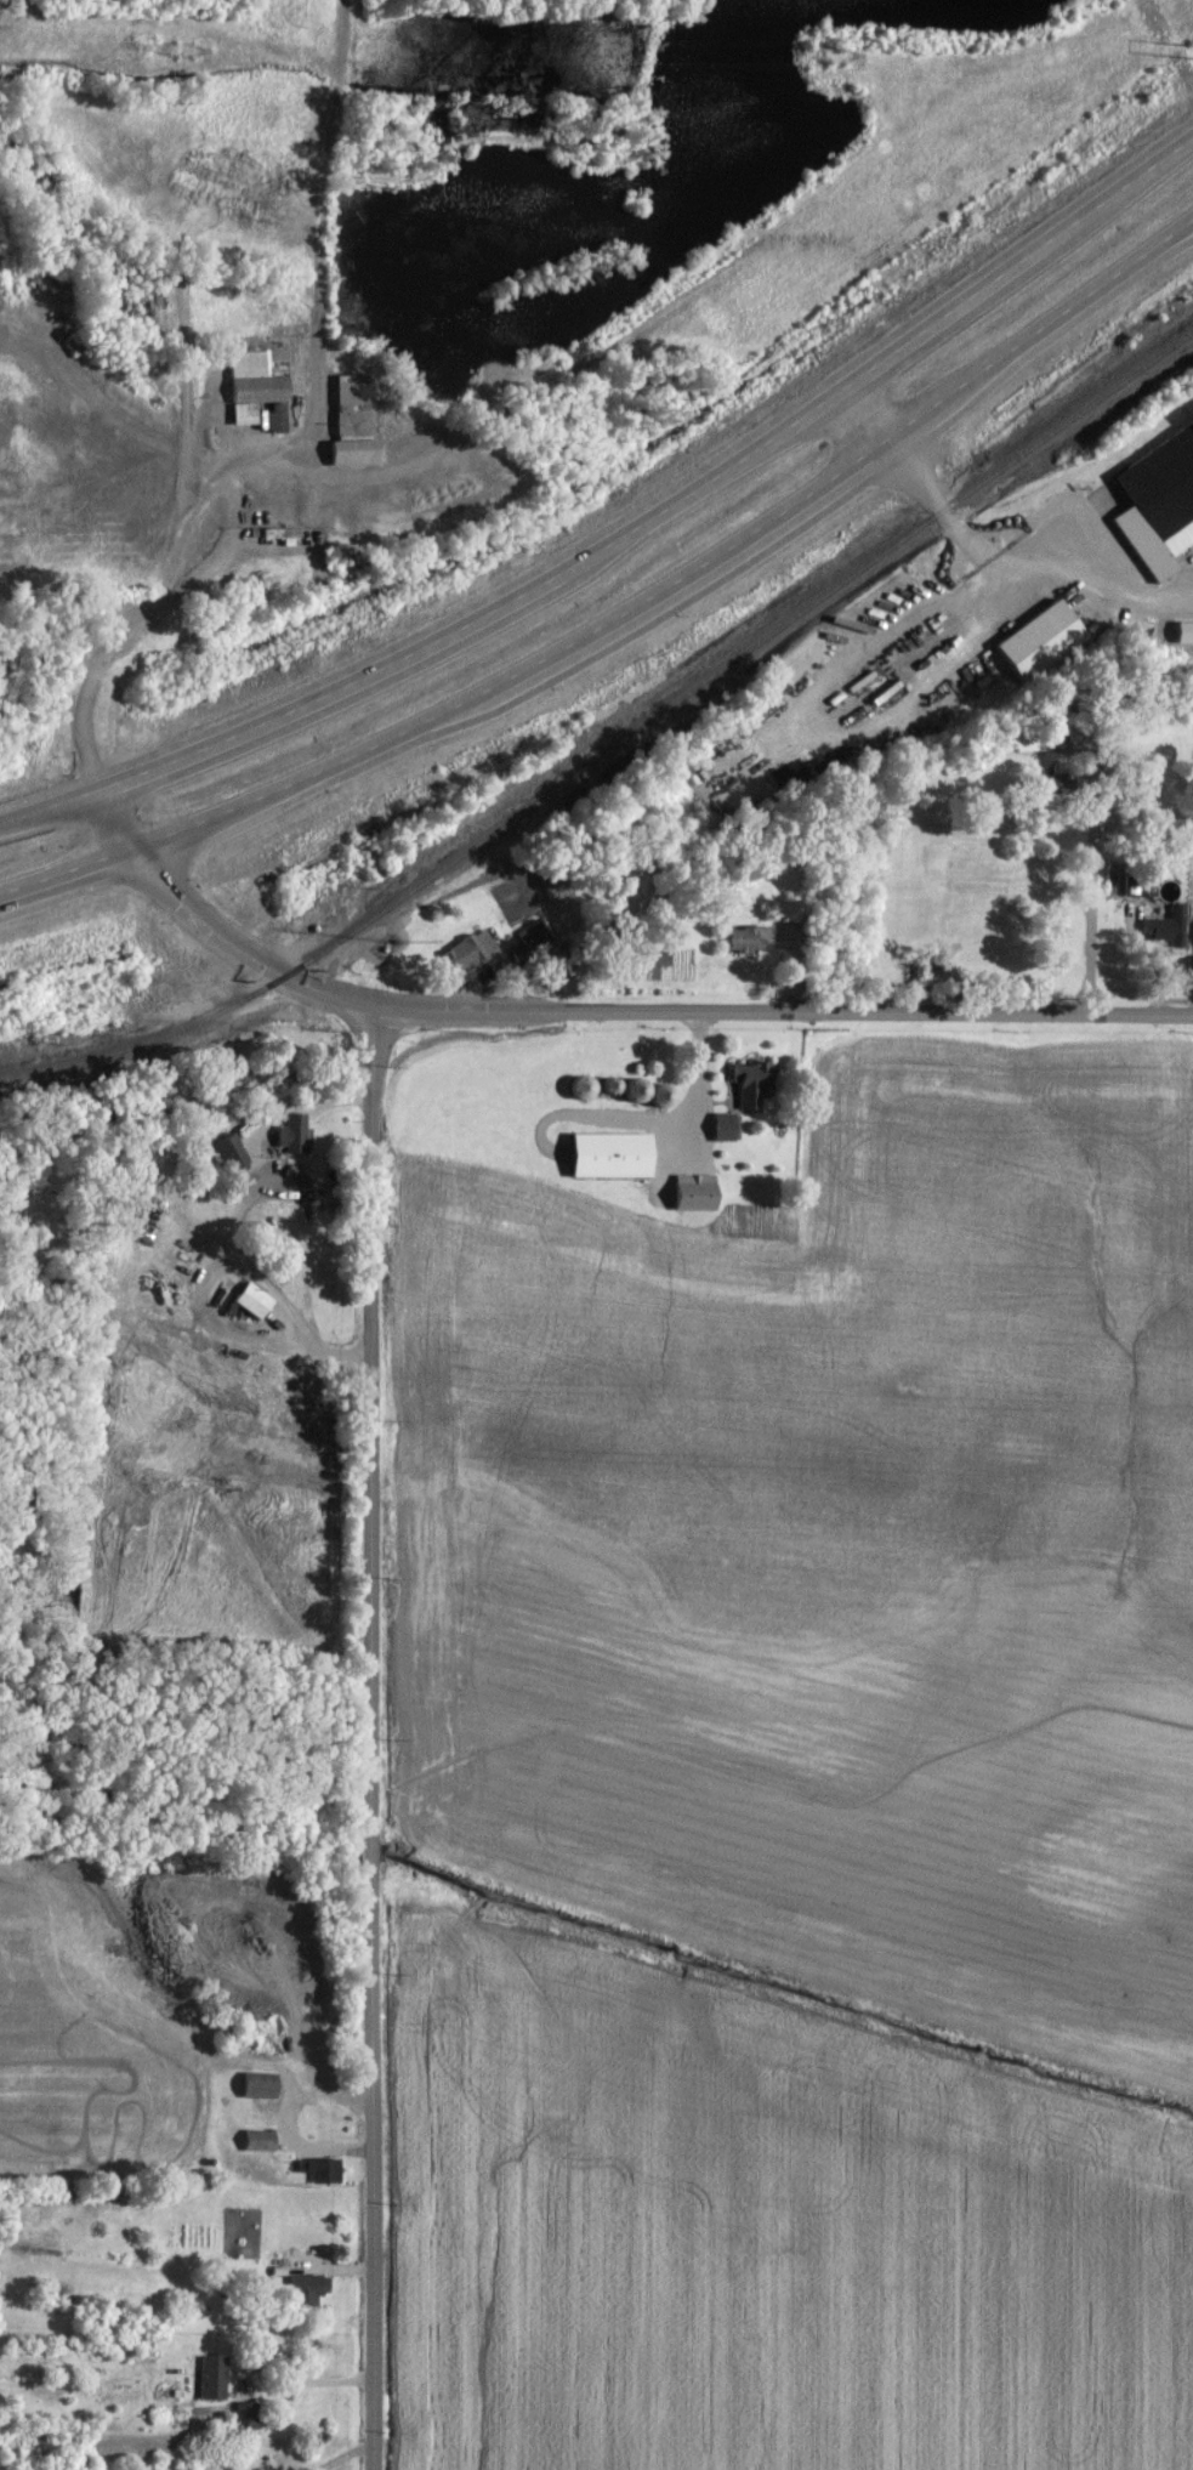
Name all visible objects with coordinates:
power tower: (1185, 55)
power tower: (188, 63)
power tower: (841, 70)
building: (265, 390)
building: (357, 391)
building: (362, 452)
road: (233, 475)
building: (1163, 505)
building: (288, 535)
road: (625, 536)
road: (979, 539)
road: (624, 612)
building: (1187, 632)
building: (1045, 640)
road: (91, 680)
railway: (615, 743)
building: (1034, 743)
building: (1138, 886)
road: (1095, 890)
building: (800, 912)
building: (1172, 926)
building: (751, 939)
building: (538, 942)
building: (471, 953)
road: (602, 1009)
building: (757, 1083)
road: (701, 1088)
building: (729, 1128)
building: (300, 1135)
building: (237, 1154)
building: (619, 1155)
building: (700, 1193)
building: (259, 1300)
road: (368, 1737)
building: (267, 2088)
building: (328, 2170)
building: (313, 2288)
building: (217, 2378)
road: (305, 2379)
building: (251, 2415)
road: (340, 2459)

